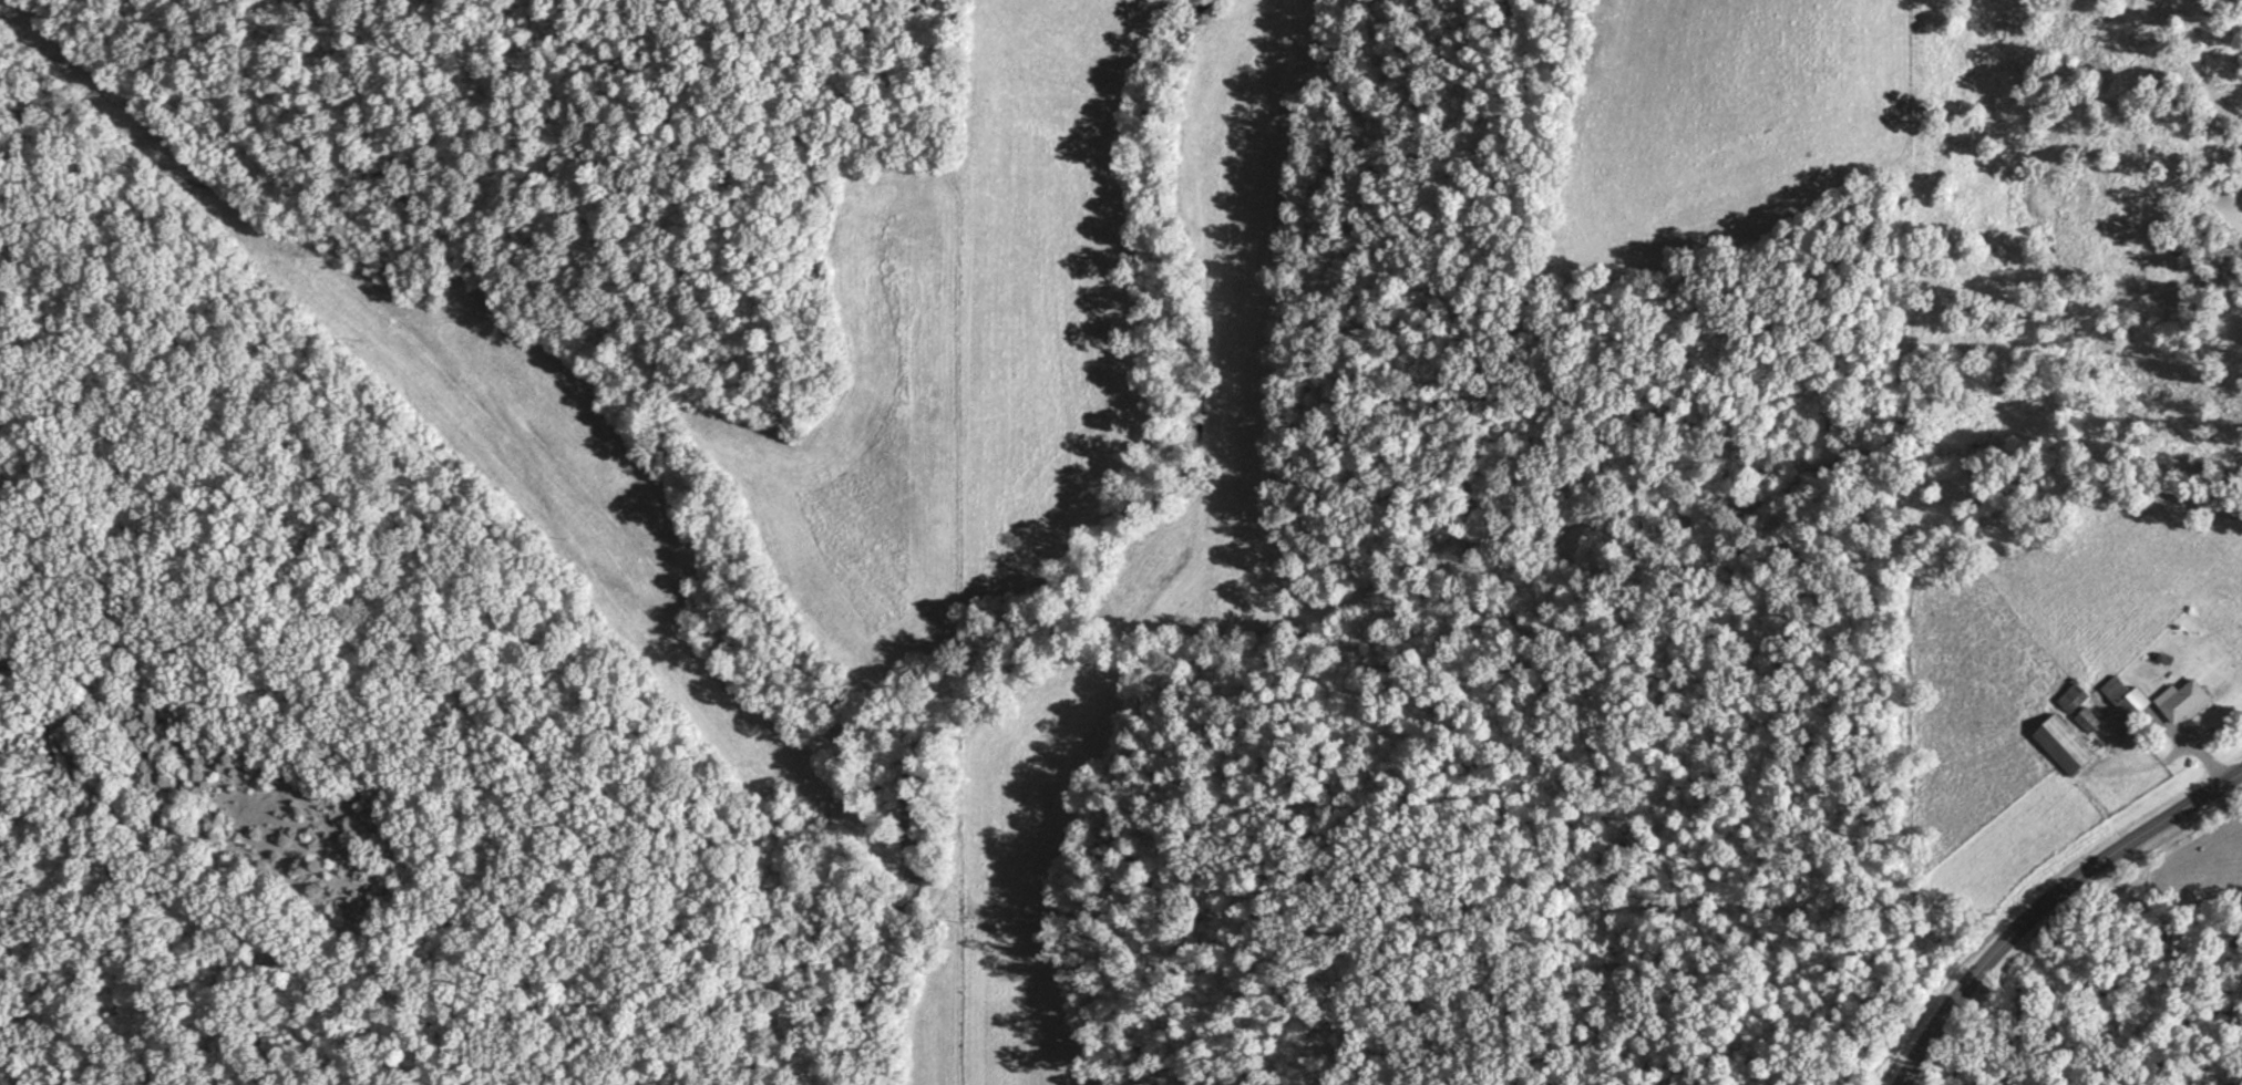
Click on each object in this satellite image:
building: (2125, 699)
building: (2183, 701)
building: (2087, 720)
building: (2064, 745)
road: (2077, 929)

